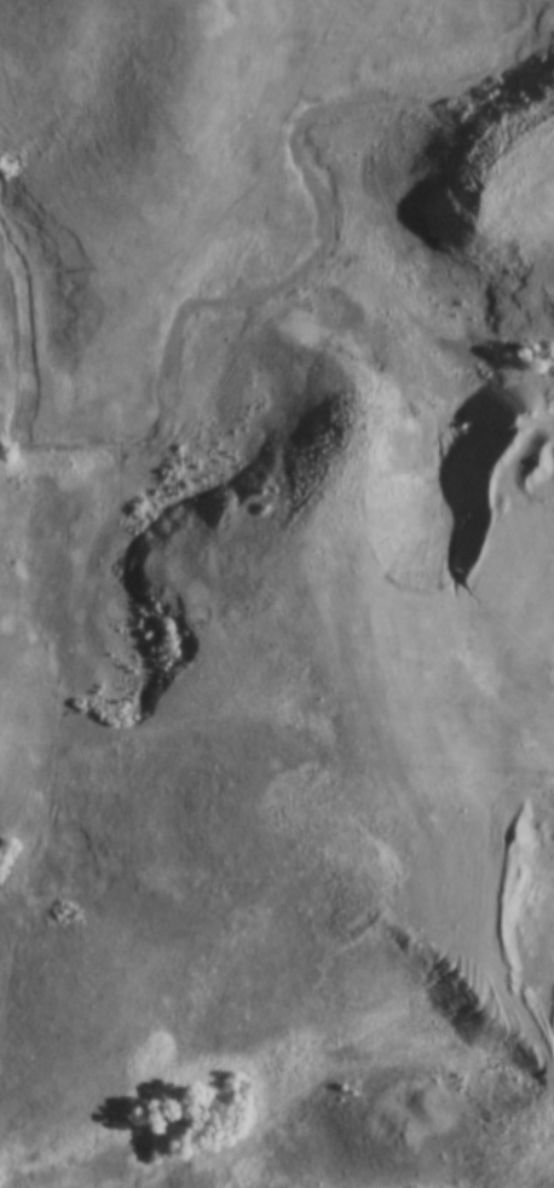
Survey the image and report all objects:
quarry: (460, 866)

